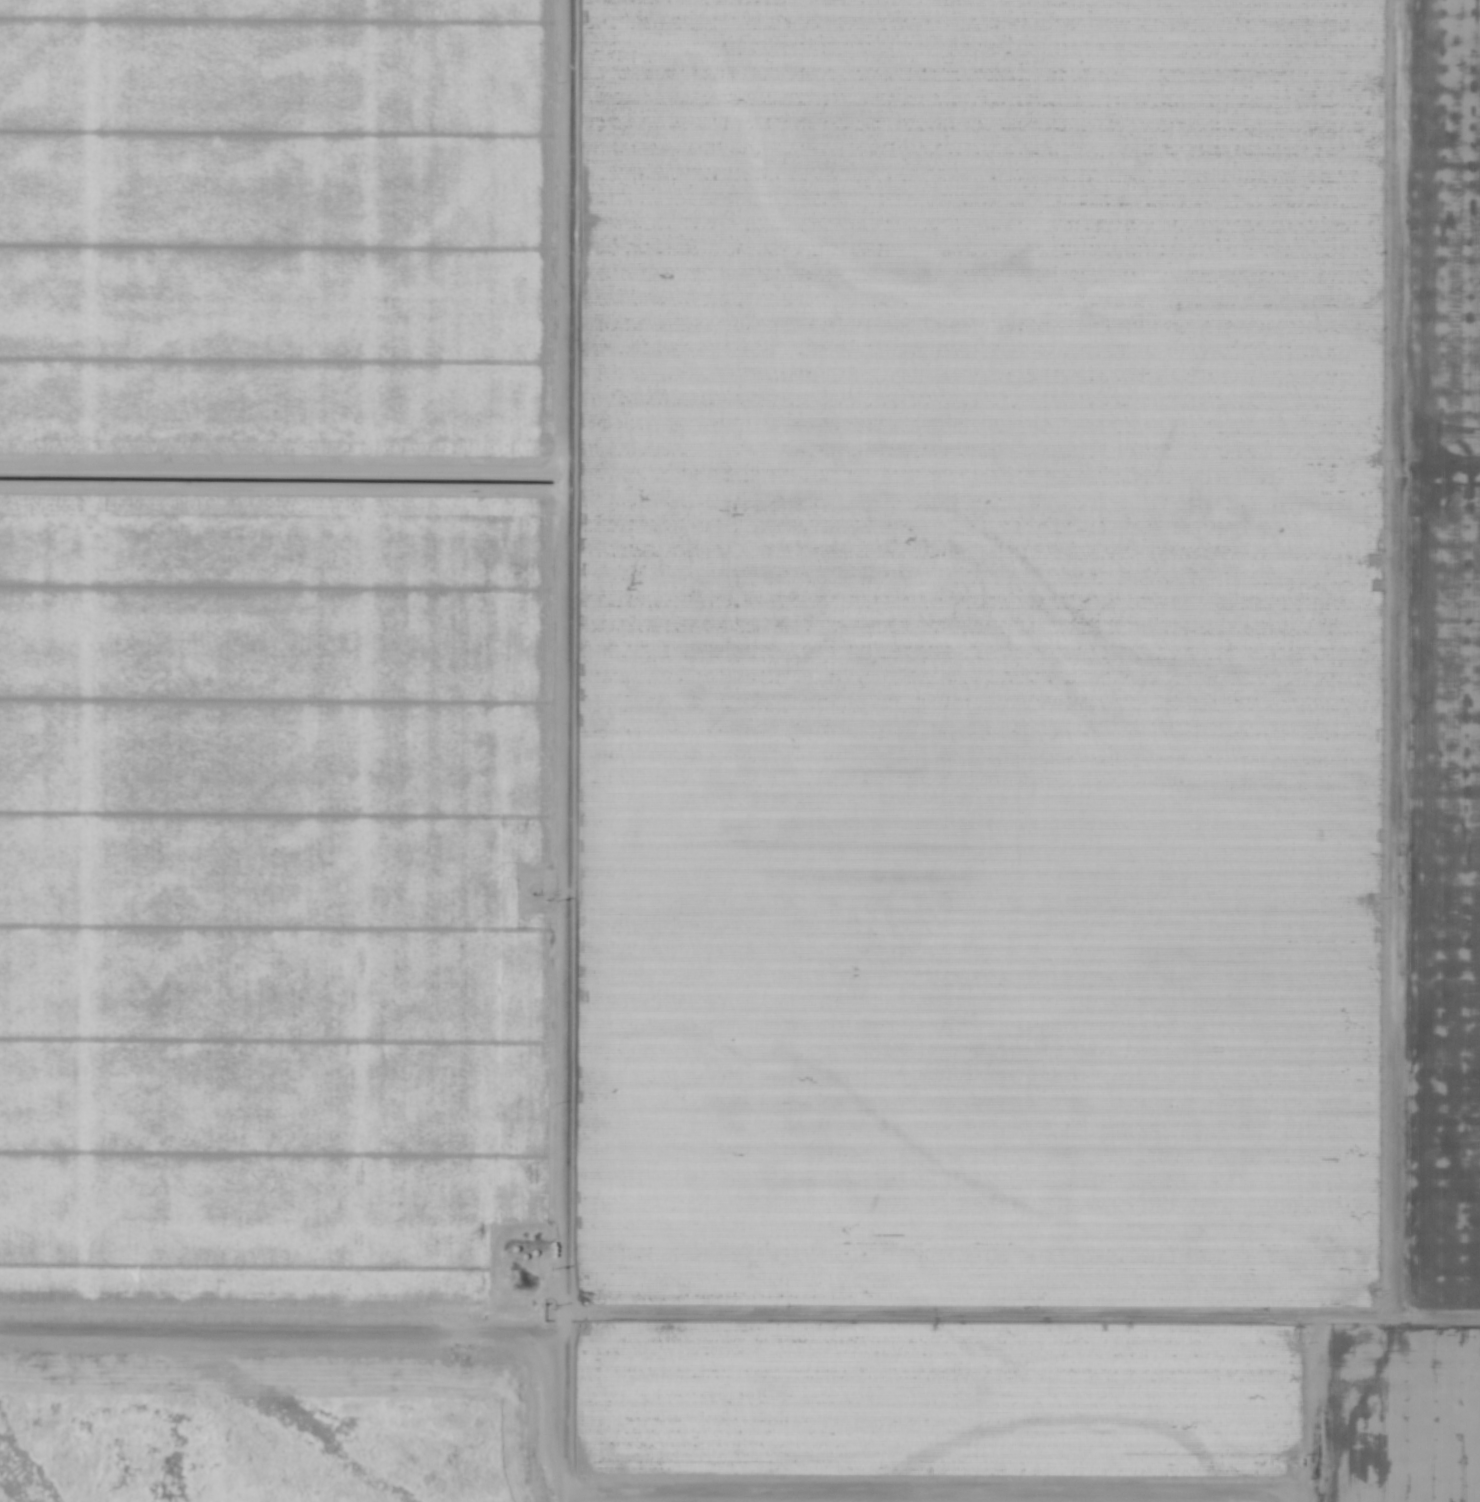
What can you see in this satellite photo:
crop: (760, 711)
road: (564, 750)
road: (740, 1304)
road: (1324, 1403)

